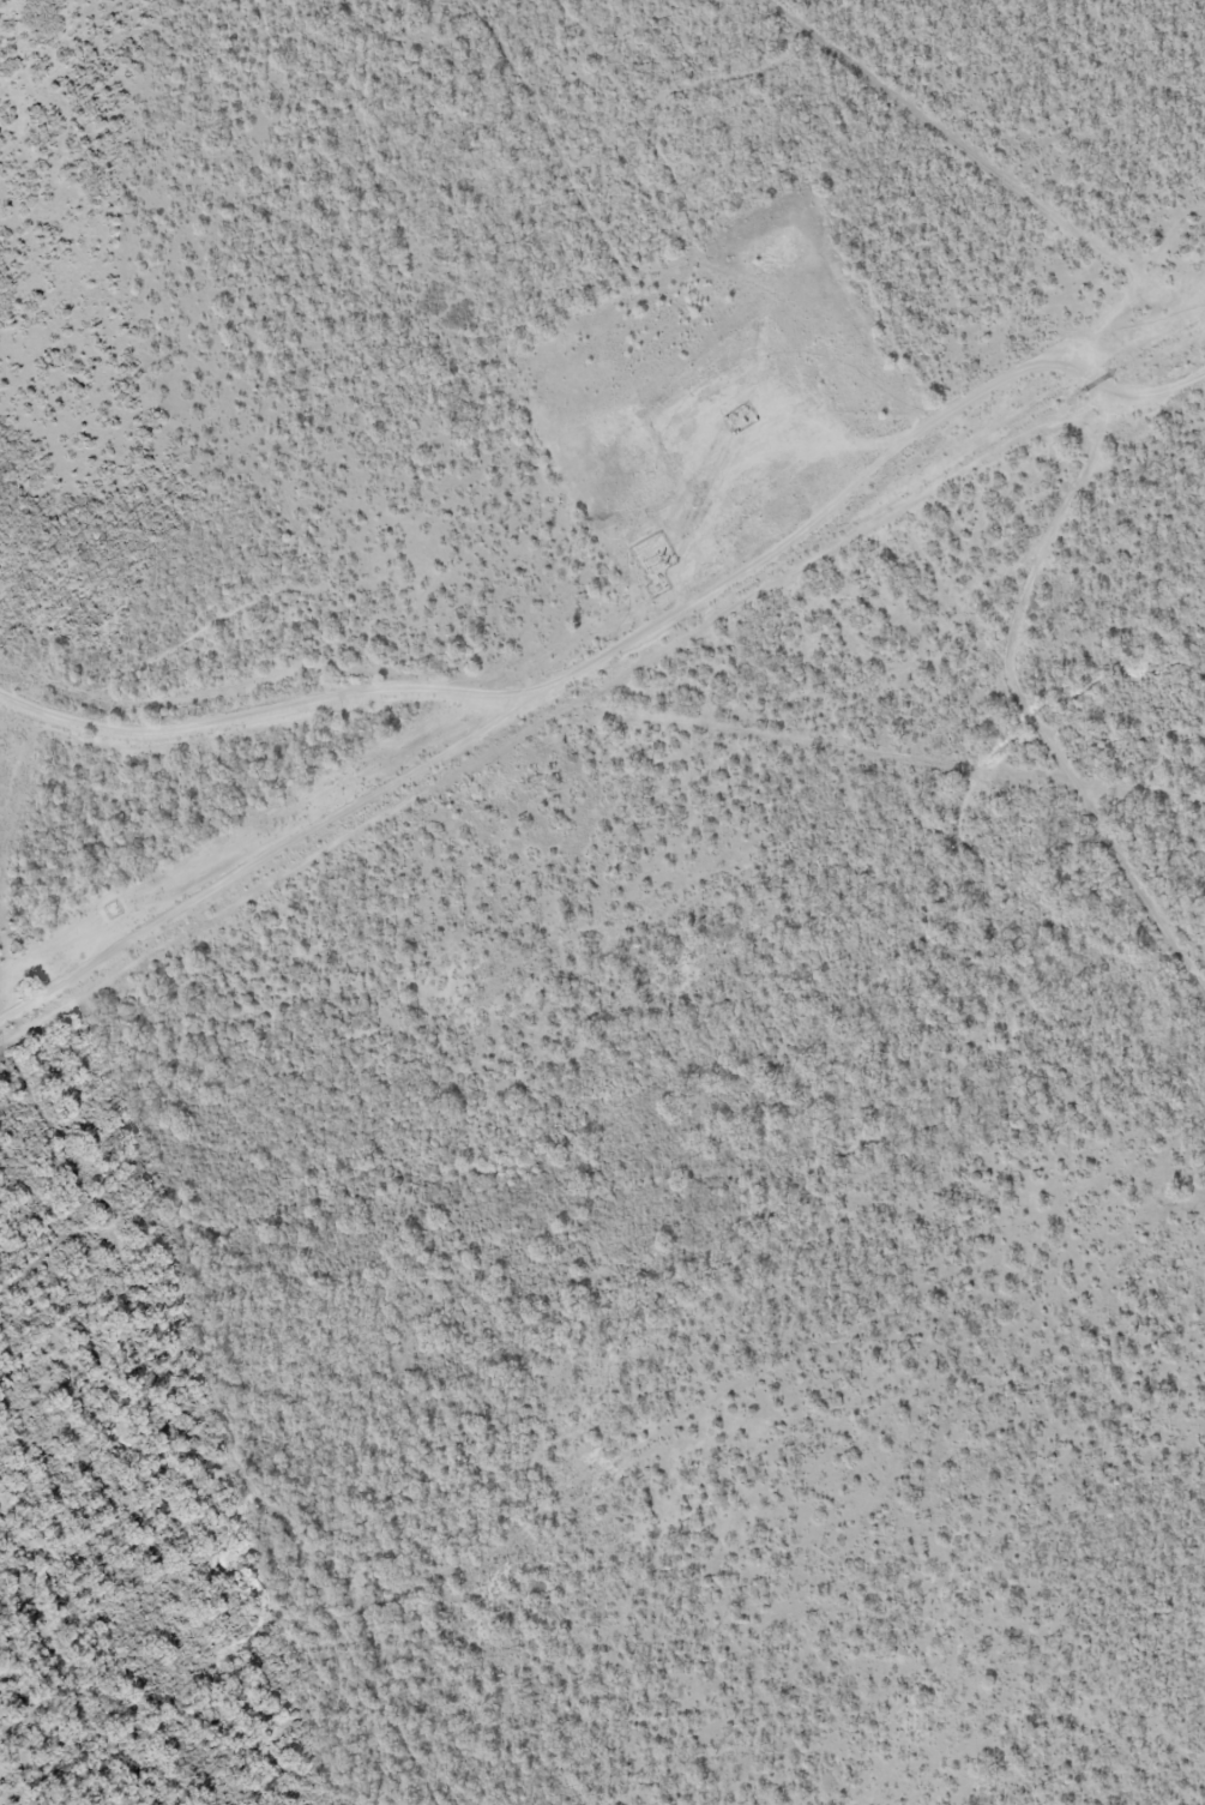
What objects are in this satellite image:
road: (598, 687)

